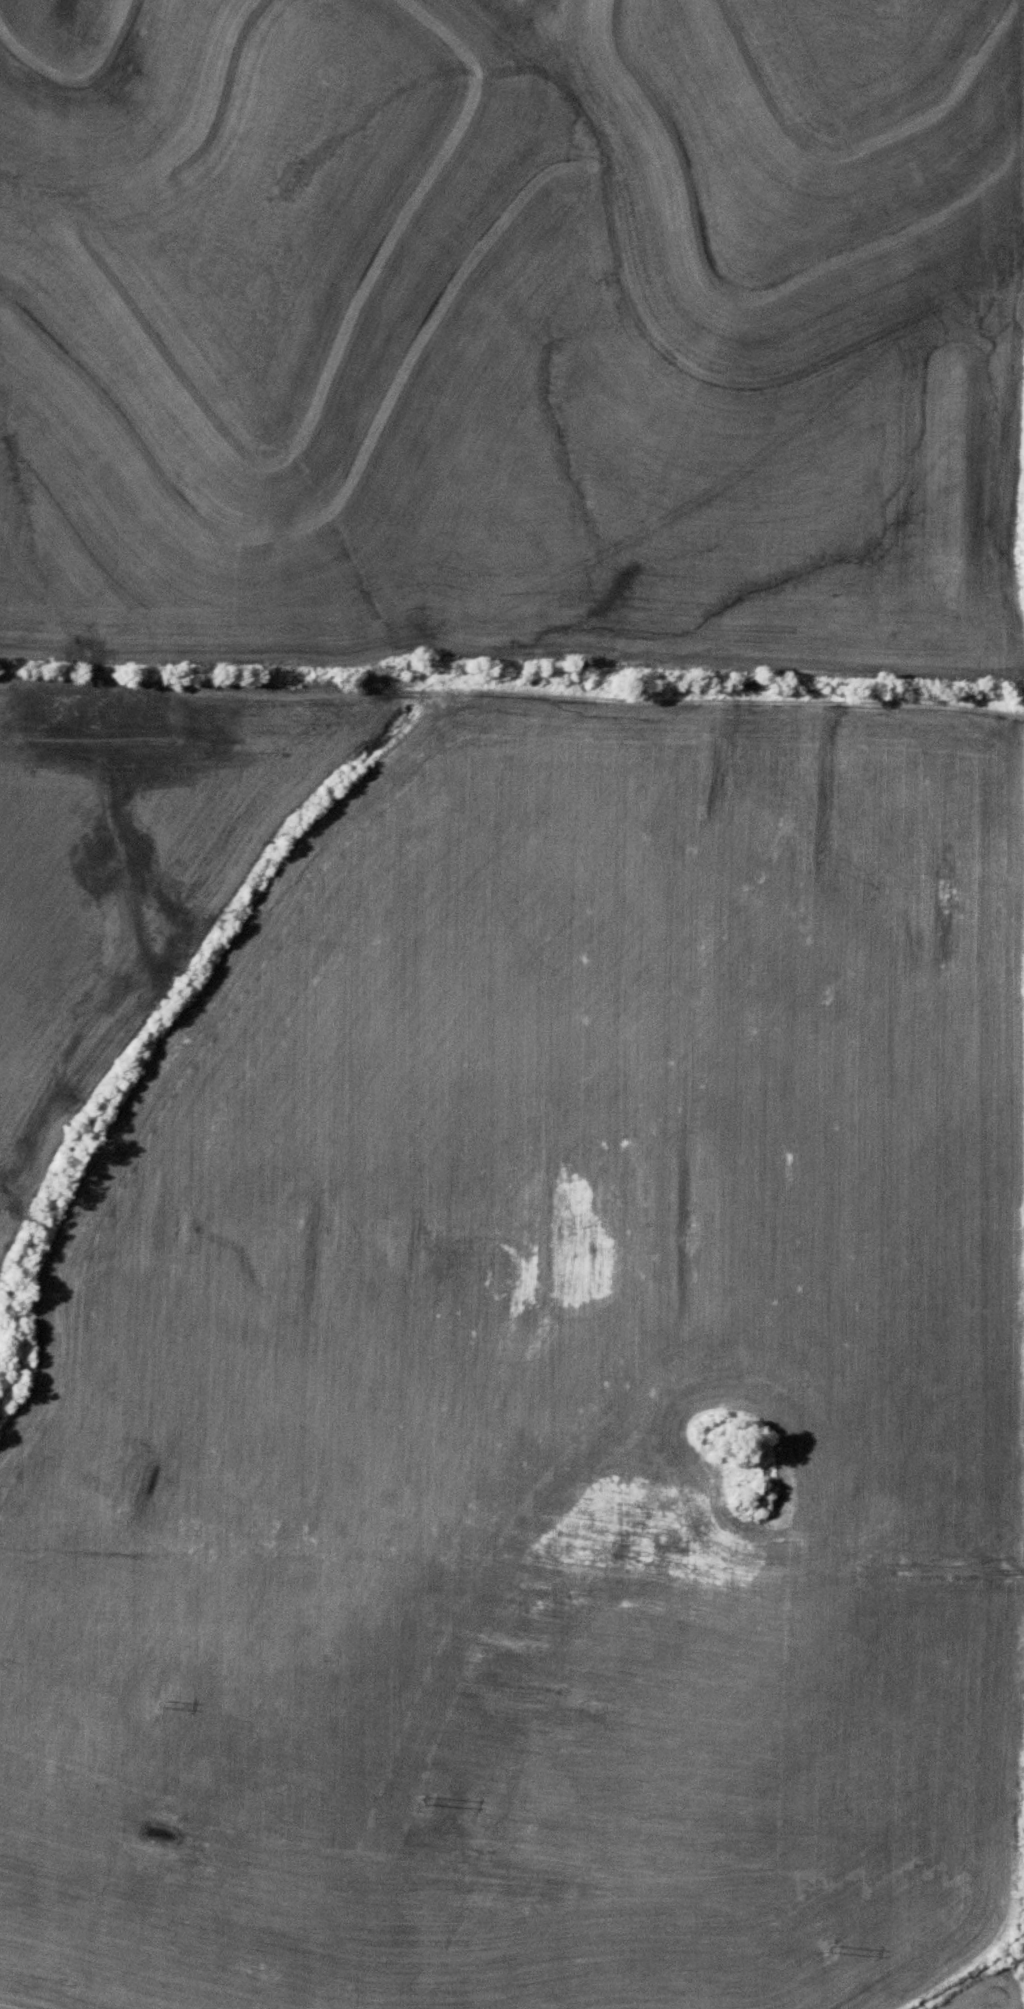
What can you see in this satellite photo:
building: (761, 1493)

